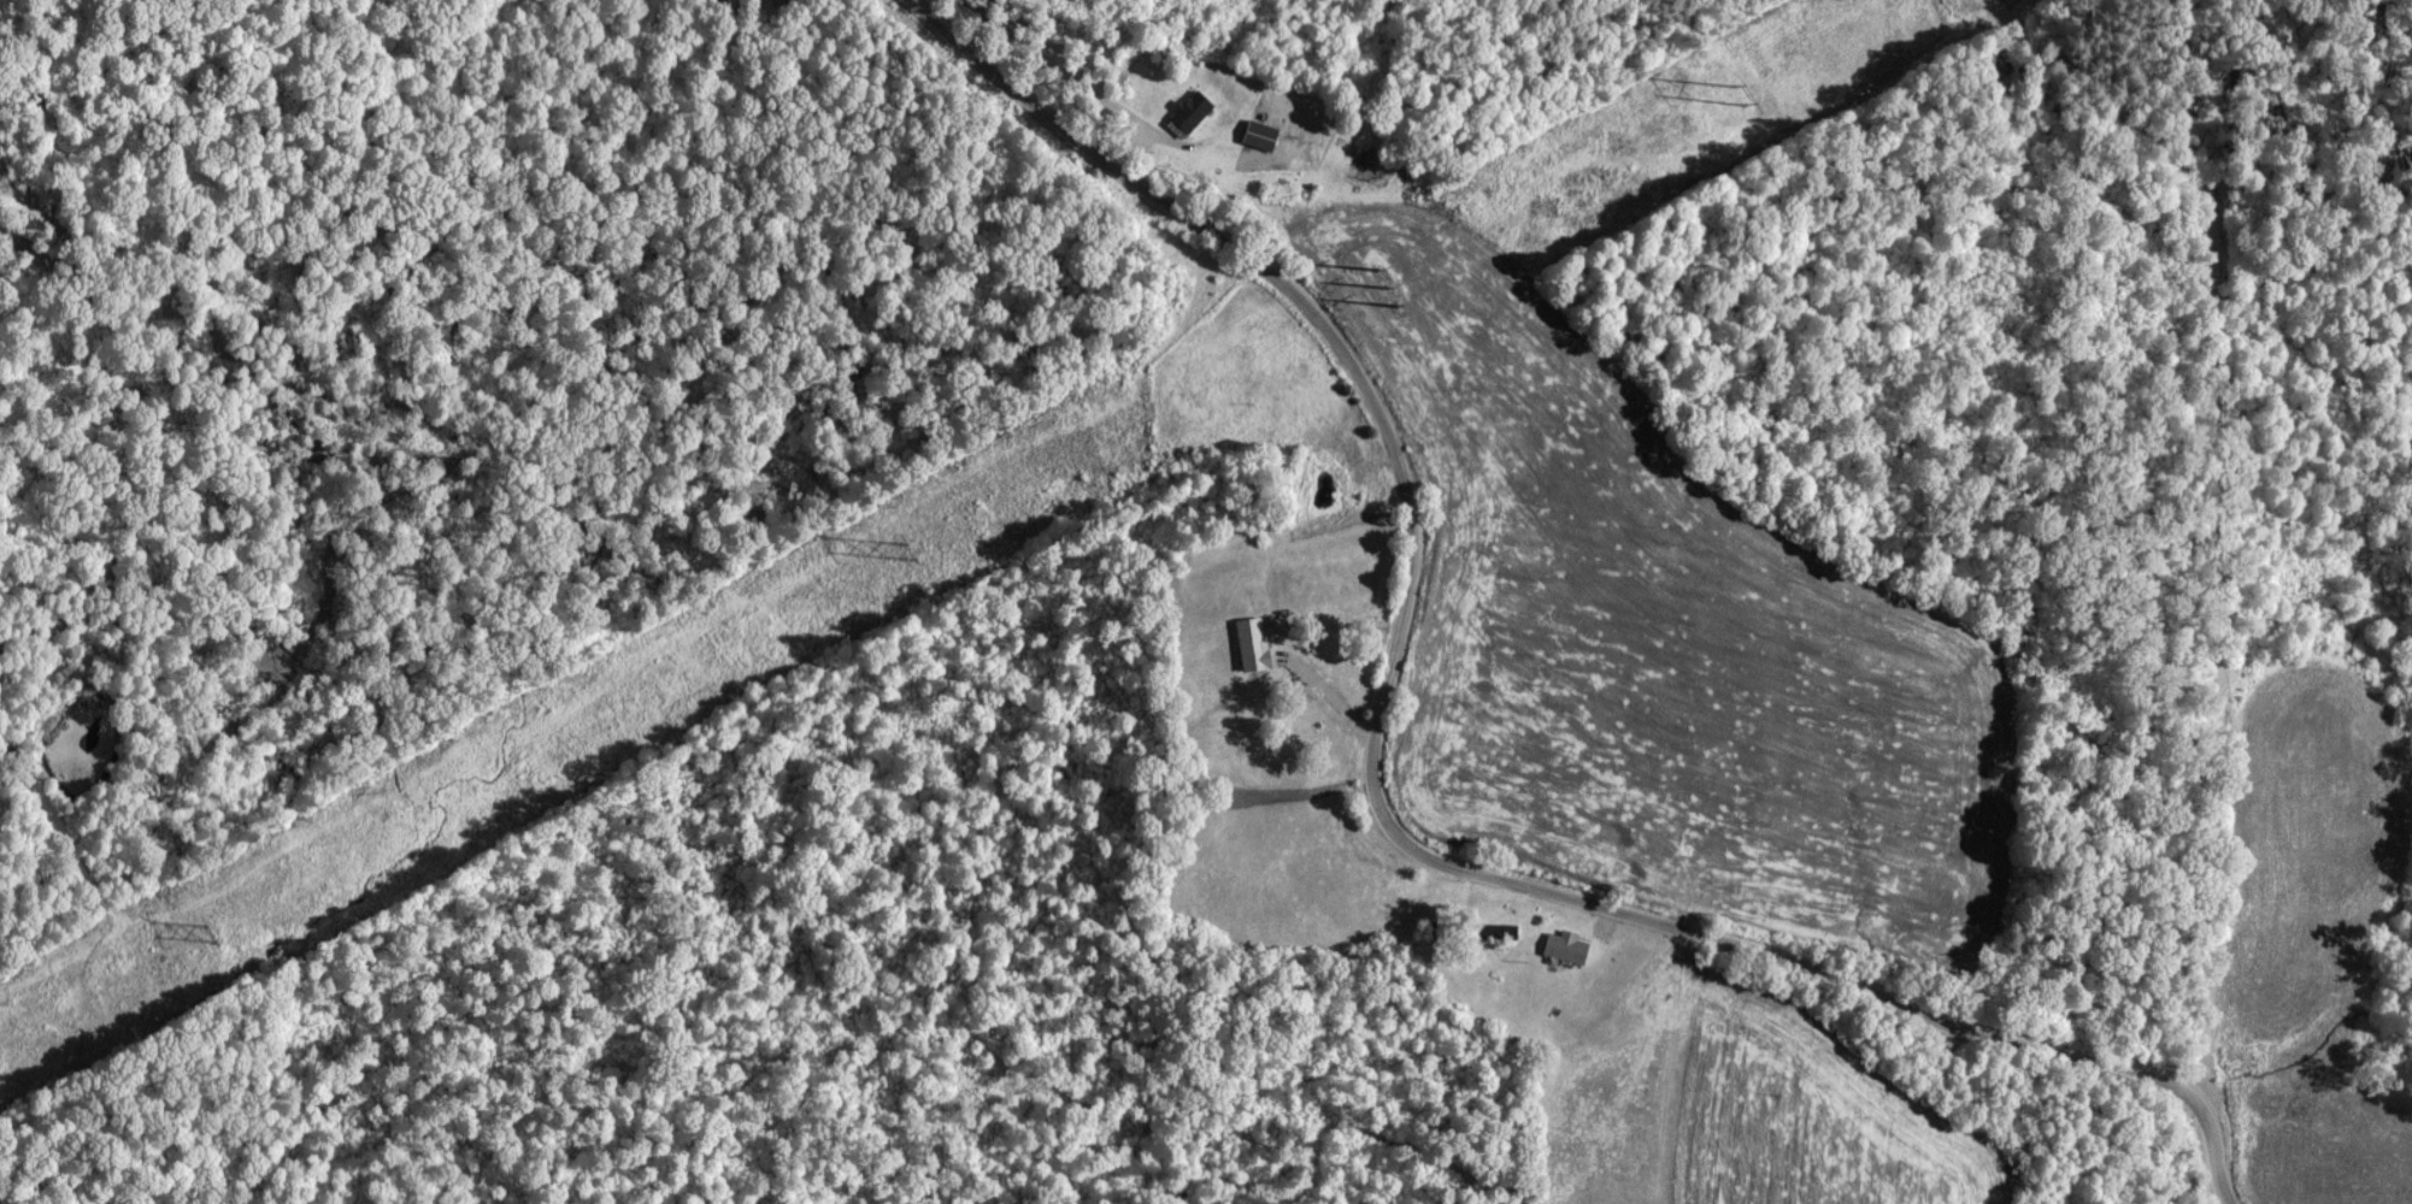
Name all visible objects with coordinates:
road: (1066, 75)
power tower: (1724, 98)
building: (1193, 108)
building: (1254, 134)
power tower: (1348, 303)
road: (2220, 506)
power tower: (906, 550)
road: (1376, 785)
building: (1489, 929)
power tower: (212, 932)
building: (1560, 946)

